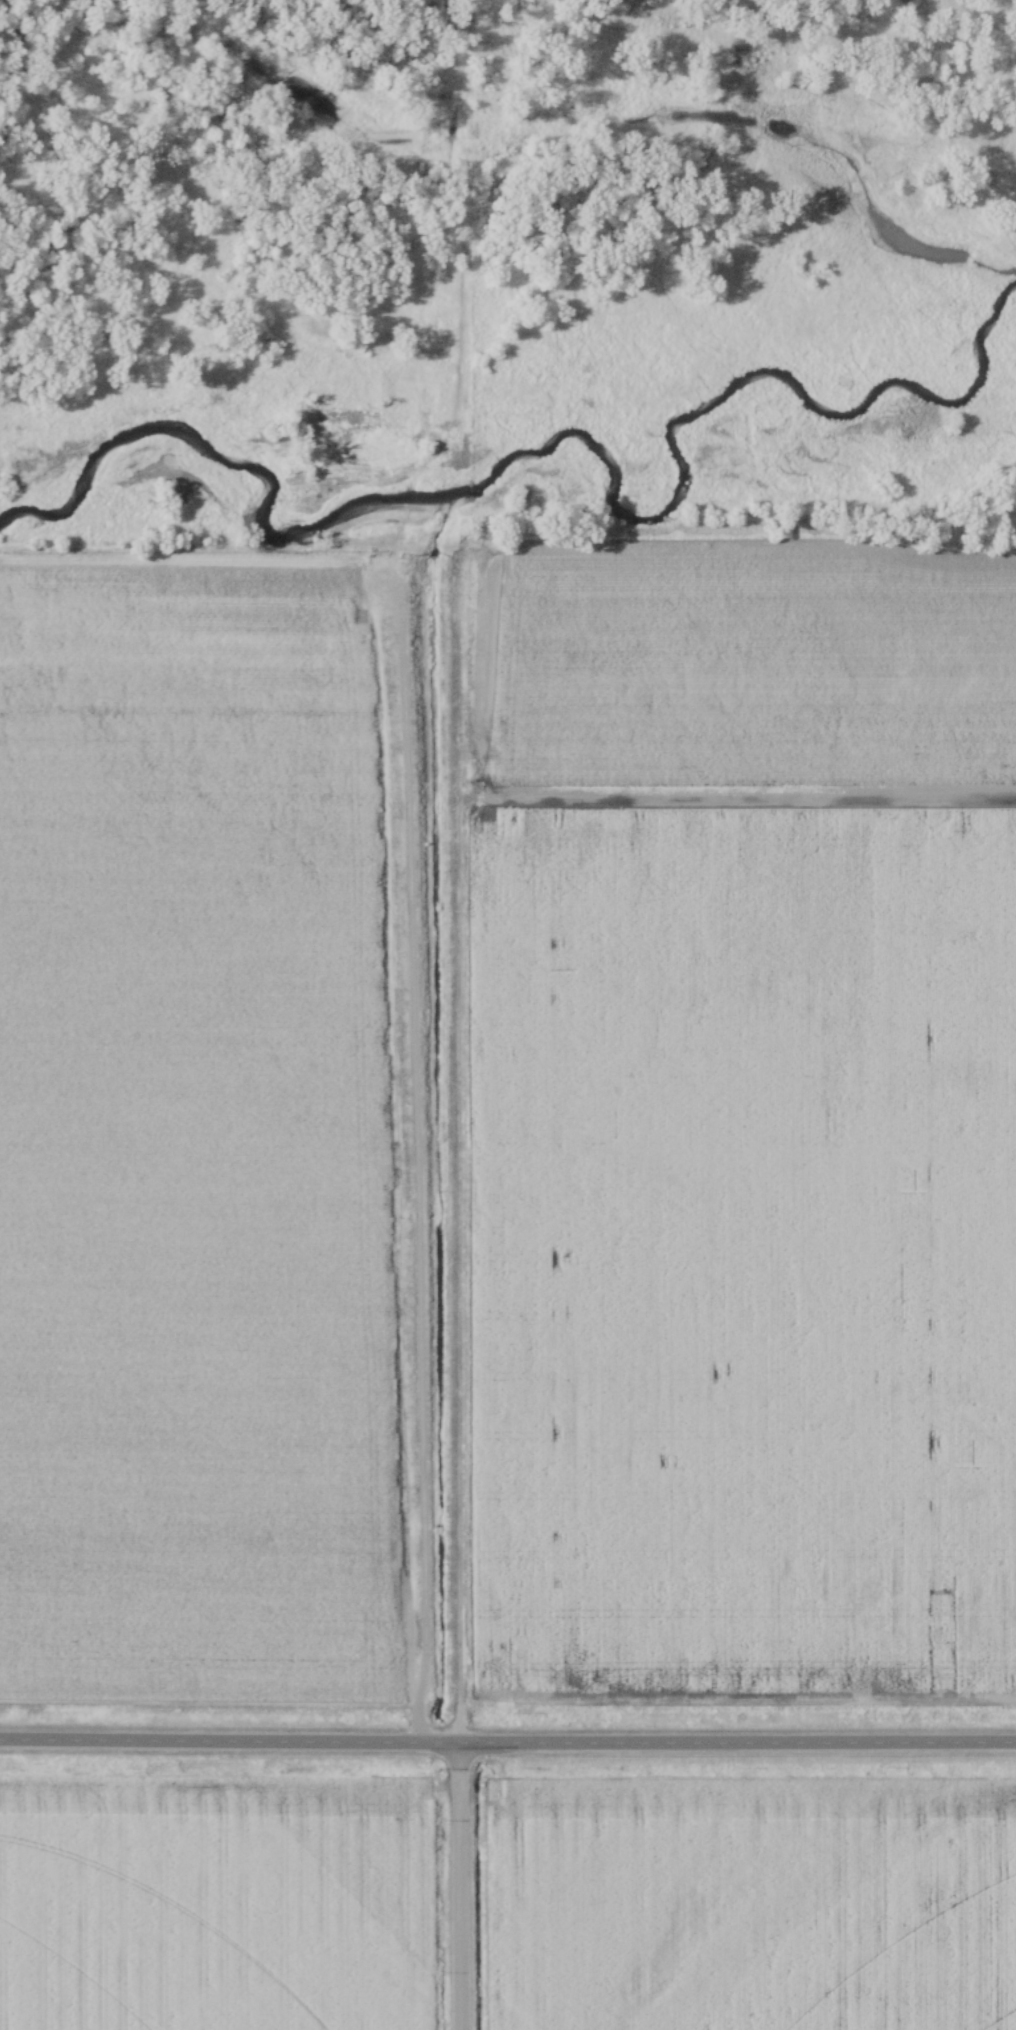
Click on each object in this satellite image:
road: (507, 1745)
road: (456, 1887)

